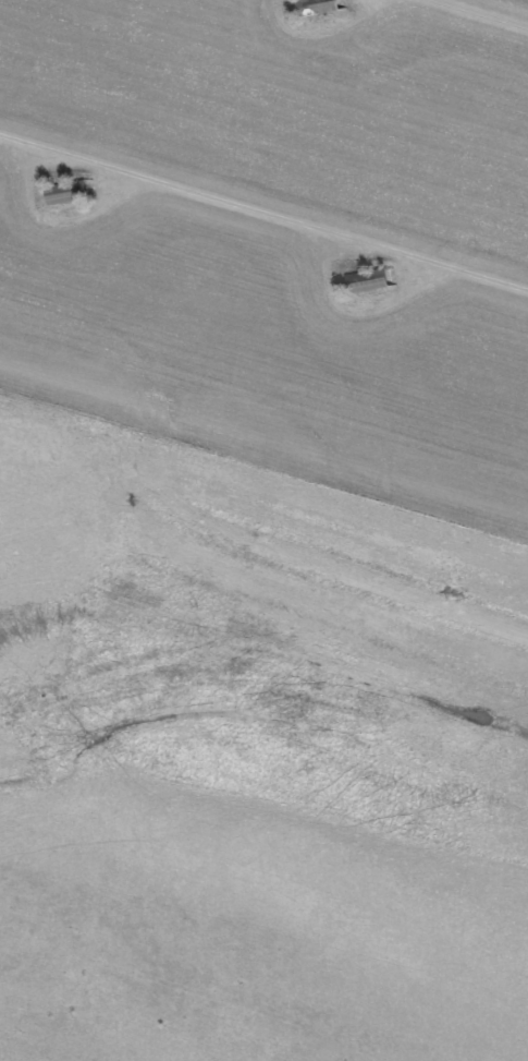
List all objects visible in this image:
building: (318, 5)
road: (488, 11)
building: (67, 191)
road: (263, 214)
building: (367, 279)

